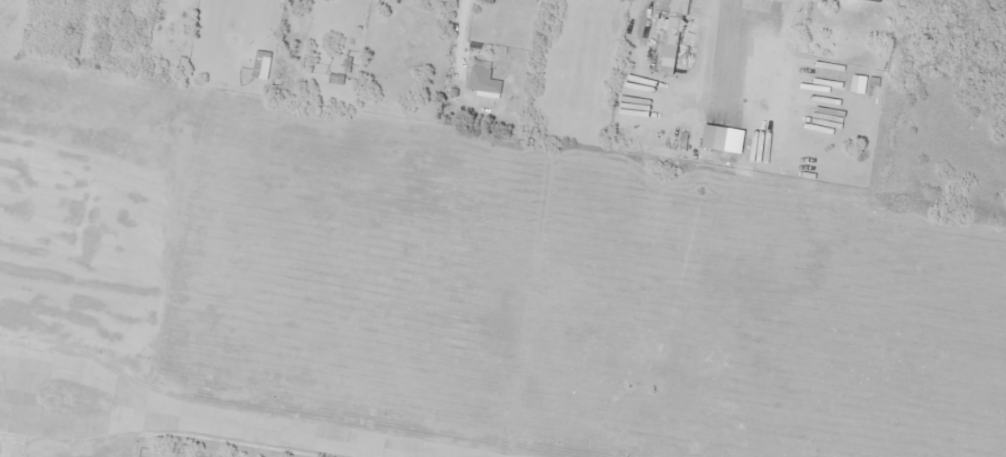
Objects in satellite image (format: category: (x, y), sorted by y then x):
building: (674, 30)
building: (482, 81)
road: (79, 369)
road: (18, 408)
road: (75, 428)
road: (309, 432)
road: (455, 456)

